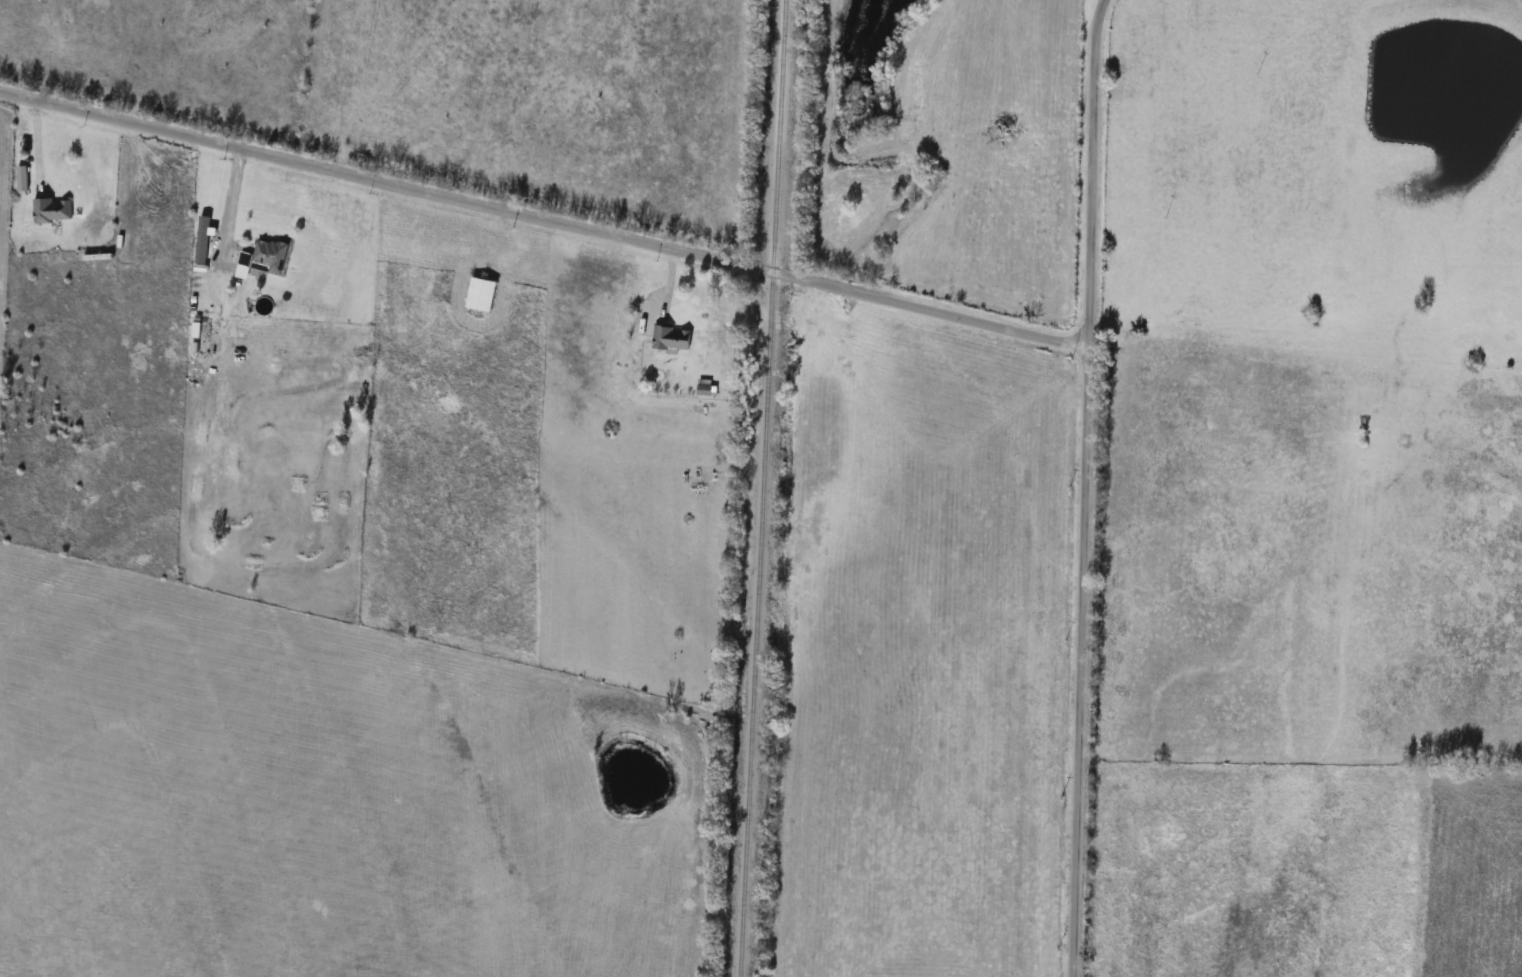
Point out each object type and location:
road: (234, 201)
building: (52, 210)
road: (543, 219)
building: (270, 257)
building: (482, 295)
building: (673, 339)
road: (1083, 487)
railway: (761, 488)

